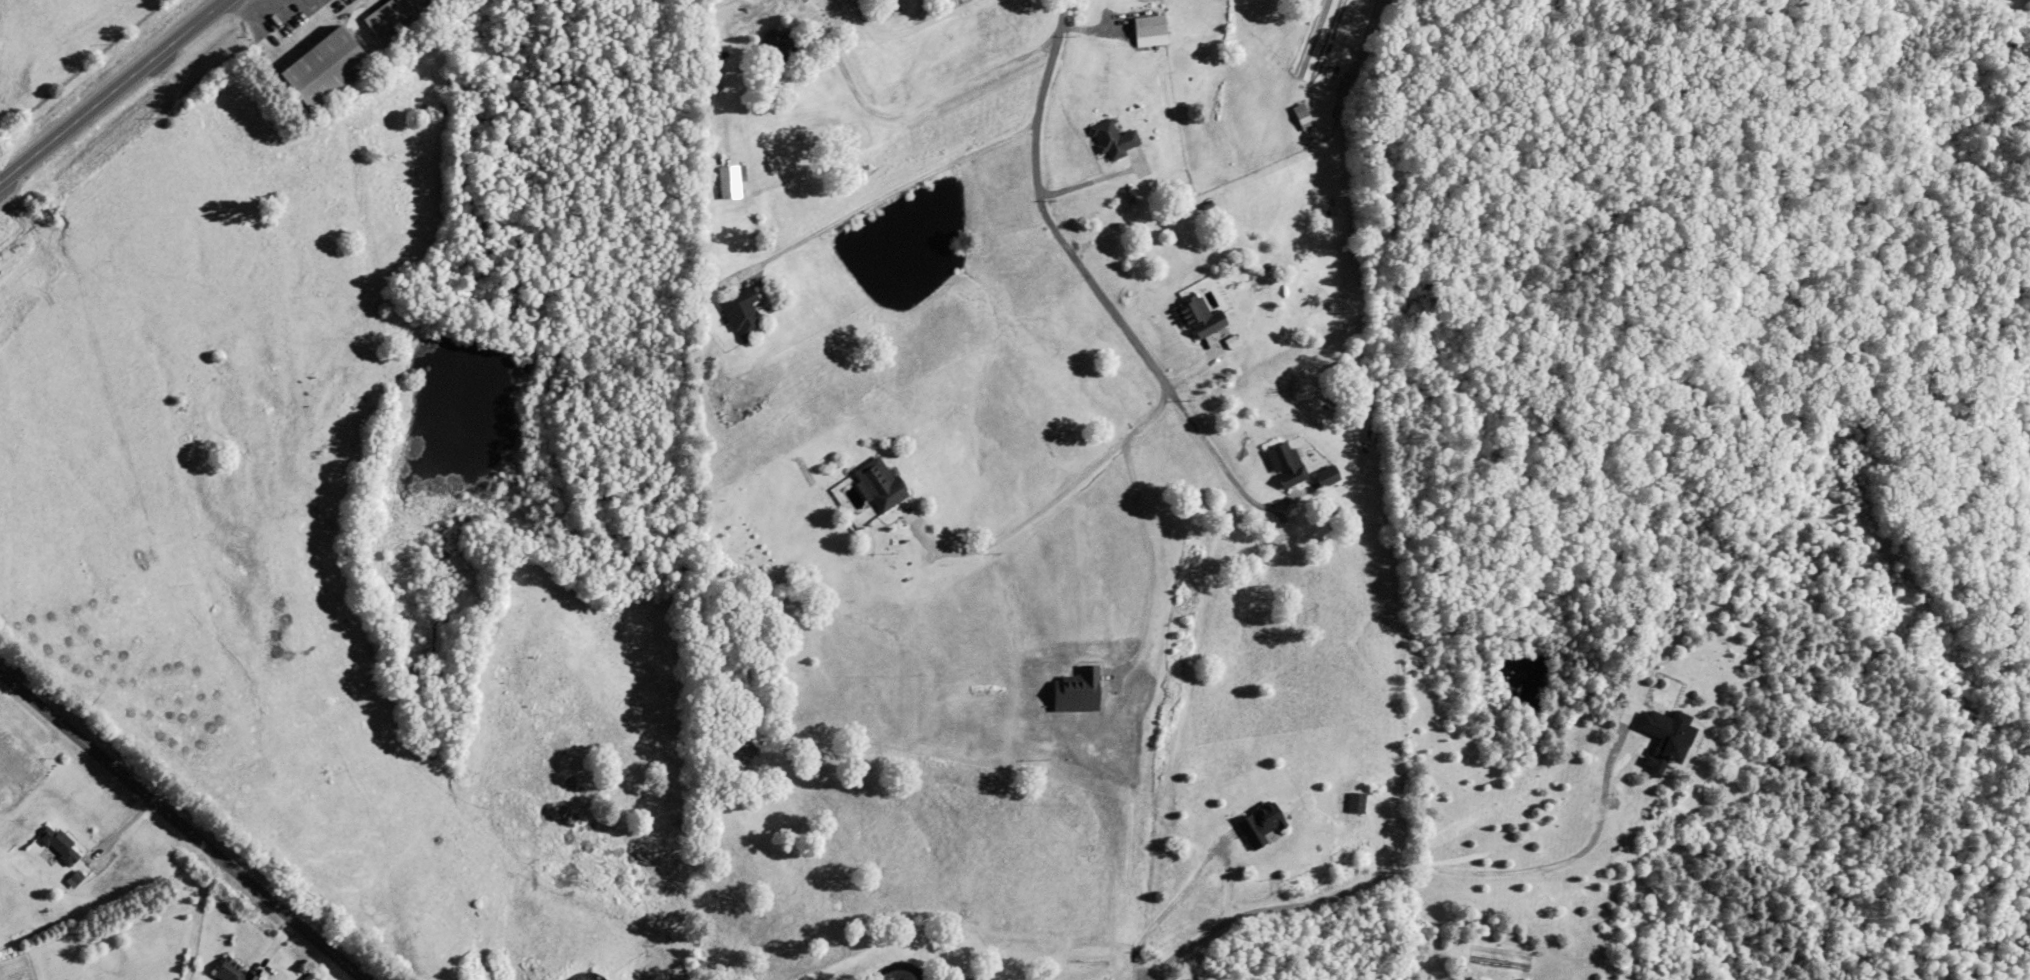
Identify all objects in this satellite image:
building: (392, 14)
road: (905, 27)
building: (777, 48)
building: (326, 67)
road: (111, 91)
road: (913, 106)
building: (1303, 115)
building: (1113, 139)
building: (732, 181)
road: (1090, 181)
road: (870, 198)
road: (1041, 211)
building: (742, 312)
building: (1200, 316)
building: (1287, 464)
road: (1223, 470)
building: (1328, 476)
building: (880, 483)
road: (1037, 511)
road: (1149, 569)
building: (1078, 690)
building: (1377, 788)
building: (1357, 801)
road: (182, 823)
building: (1260, 823)
building: (59, 844)
road: (201, 917)
road: (1223, 922)
road: (896, 963)
building: (234, 971)
building: (969, 978)

